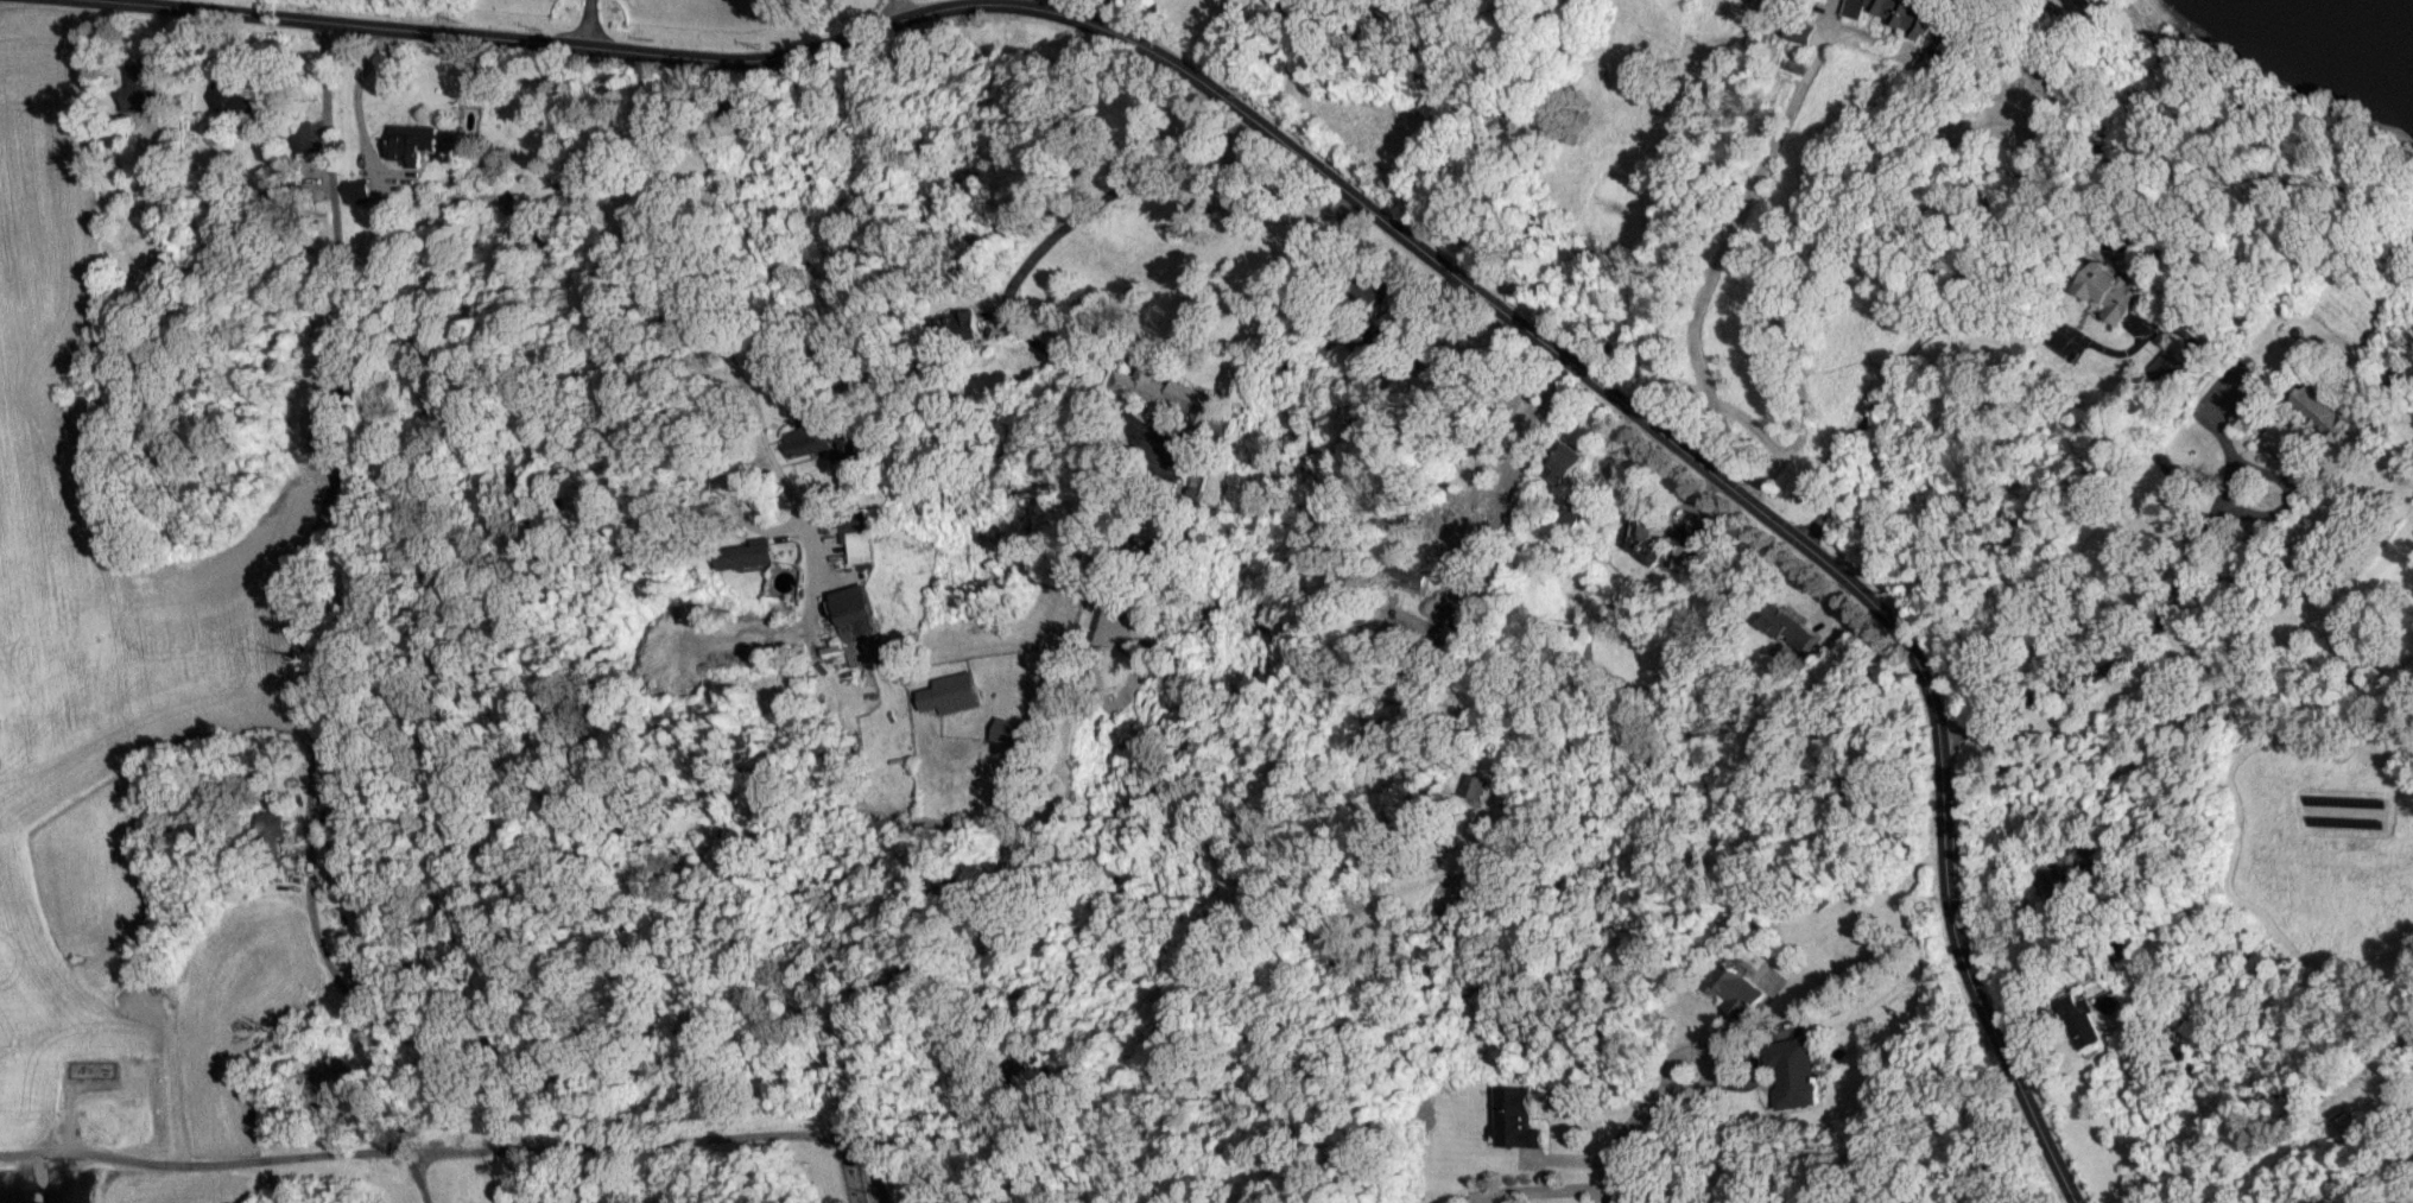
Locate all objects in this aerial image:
road: (129, 1)
road: (1032, 4)
road: (892, 11)
building: (1896, 13)
road: (1122, 15)
road: (585, 23)
road: (382, 26)
building: (1799, 32)
road: (164, 71)
building: (140, 84)
building: (234, 93)
road: (1495, 115)
building: (304, 134)
building: (411, 141)
building: (356, 190)
road: (1734, 226)
building: (2110, 291)
road: (685, 298)
building: (956, 327)
road: (1921, 336)
road: (1571, 362)
building: (2166, 367)
road: (1083, 378)
building: (1168, 397)
building: (2246, 410)
building: (2319, 411)
building: (807, 433)
road: (334, 449)
building: (1566, 461)
building: (1566, 524)
building: (855, 538)
building: (1639, 538)
building: (747, 553)
building: (1684, 556)
road: (1487, 564)
building: (1404, 571)
building: (856, 623)
building: (1786, 628)
road: (2132, 647)
building: (949, 692)
building: (1003, 730)
building: (1475, 785)
building: (273, 831)
building: (1734, 989)
road: (359, 1009)
building: (2077, 1021)
road: (1699, 1058)
petroleum well: (102, 1066)
building: (1794, 1071)
road: (175, 1082)
road: (65, 1101)
road: (527, 1104)
building: (1514, 1117)
building: (2355, 1133)
road: (1624, 1140)
road: (664, 1142)
road: (202, 1165)
road: (418, 1176)
road: (1552, 1189)

